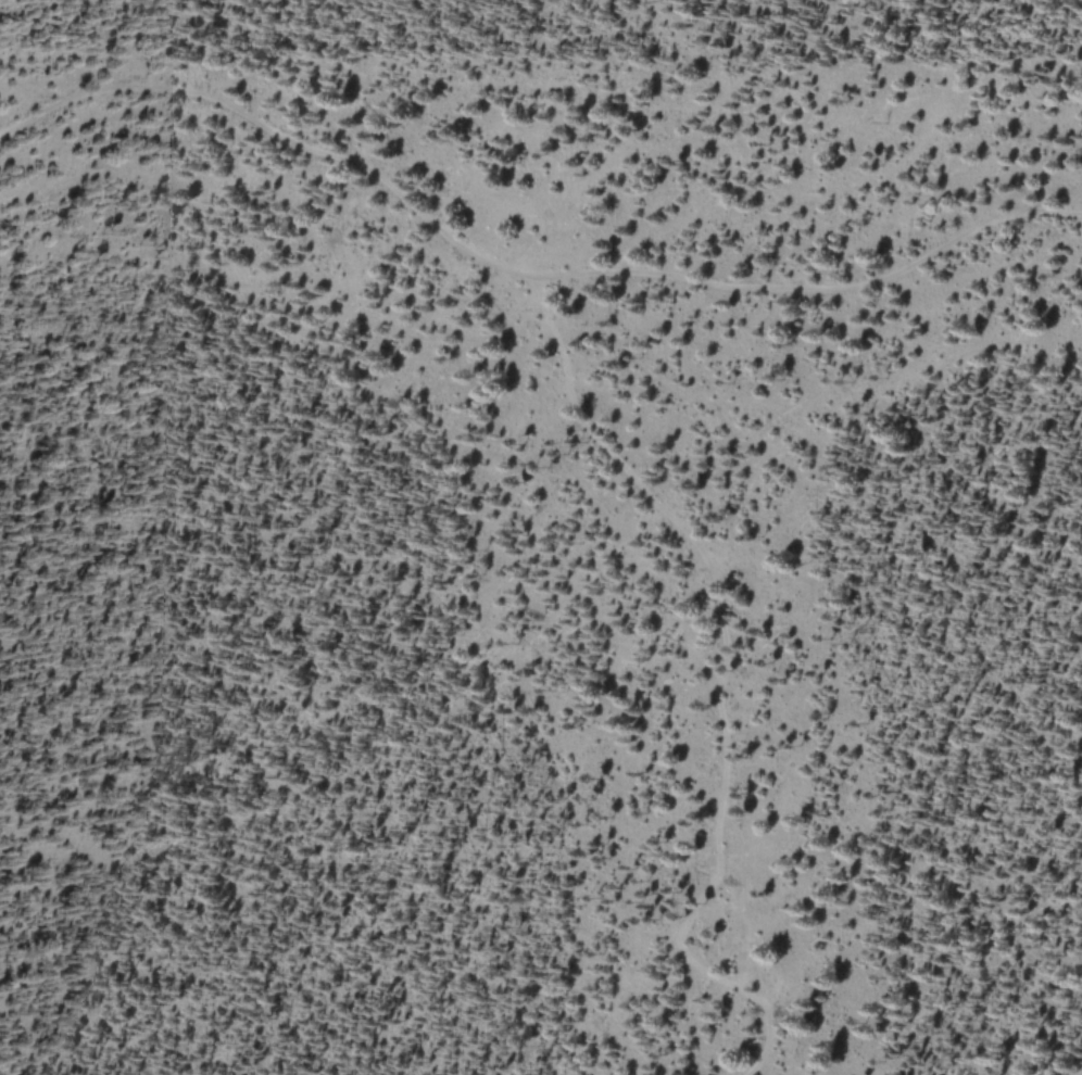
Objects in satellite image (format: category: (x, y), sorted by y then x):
road: (518, 274)
road: (730, 645)

